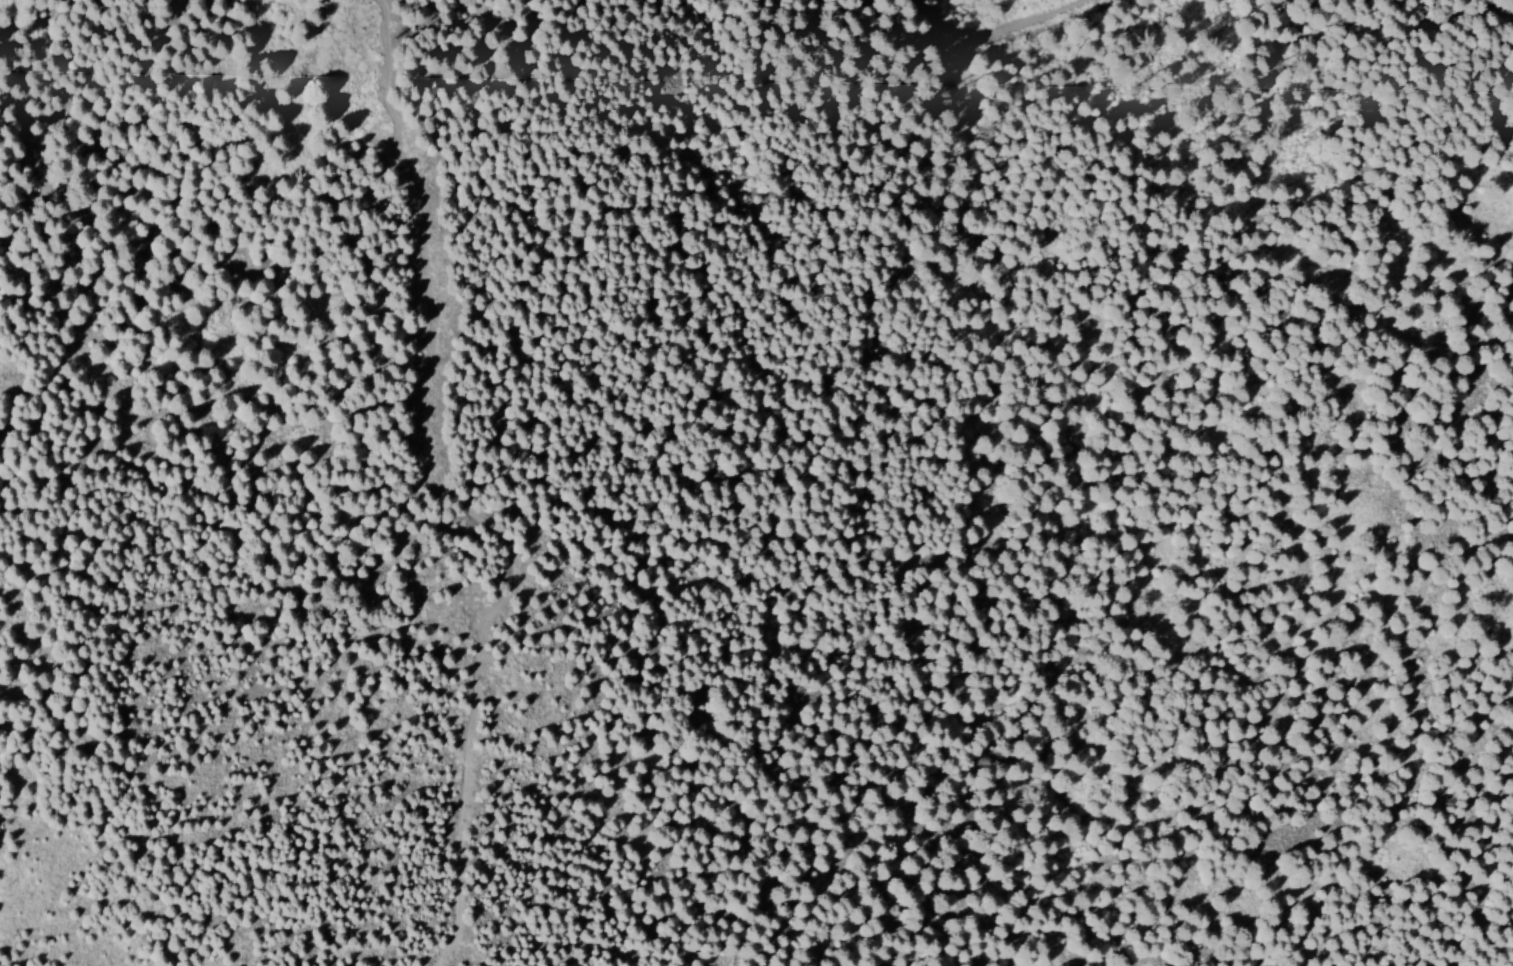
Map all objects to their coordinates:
road: (1001, 35)

